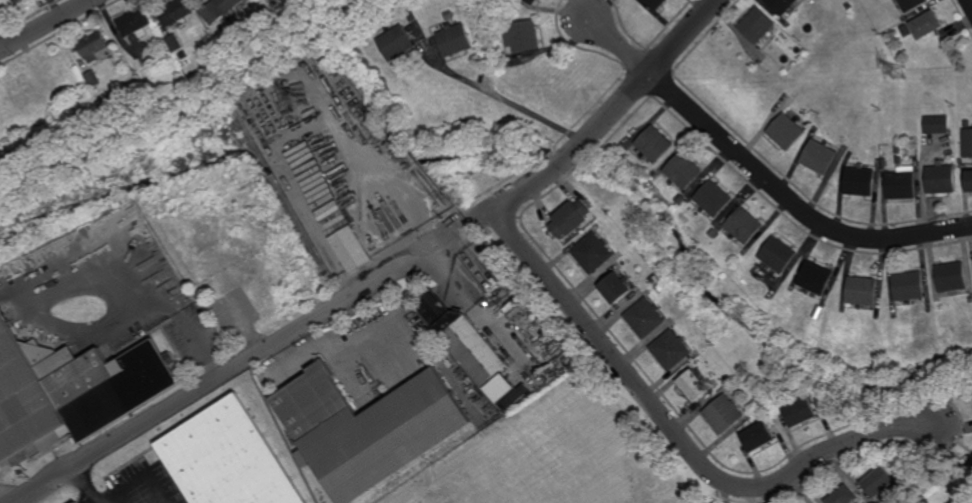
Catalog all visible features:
road: (971, 0)
building: (17, 1)
building: (275, 1)
building: (532, 1)
building: (656, 3)
building: (911, 4)
building: (782, 5)
building: (850, 5)
building: (218, 9)
building: (176, 12)
building: (448, 15)
building: (411, 16)
building: (136, 22)
road: (45, 24)
building: (758, 24)
building: (926, 24)
building: (906, 30)
building: (523, 36)
building: (454, 39)
road: (3, 40)
building: (395, 42)
building: (175, 43)
building: (94, 45)
road: (619, 45)
power tower: (899, 75)
building: (92, 78)
power tower: (294, 99)
road: (511, 103)
road: (603, 121)
building: (968, 123)
building: (936, 124)
building: (787, 131)
building: (967, 142)
building: (655, 143)
building: (898, 149)
building: (819, 156)
building: (899, 160)
building: (884, 162)
building: (963, 163)
building: (684, 170)
building: (941, 178)
building: (859, 181)
building: (969, 181)
building: (900, 185)
building: (714, 198)
road: (791, 202)
building: (571, 218)
building: (745, 225)
road: (441, 226)
building: (715, 233)
building: (351, 249)
building: (594, 252)
building: (778, 254)
building: (293, 258)
road: (444, 273)
building: (816, 277)
building: (951, 277)
building: (656, 278)
building: (908, 286)
building: (663, 287)
building: (617, 288)
building: (862, 291)
road: (129, 292)
building: (970, 300)
building: (430, 306)
building: (646, 317)
building: (471, 347)
building: (672, 350)
road: (214, 378)
building: (695, 385)
building: (73, 391)
building: (513, 396)
building: (804, 414)
building: (726, 415)
building: (366, 430)
road: (681, 438)
building: (762, 438)
building: (742, 443)
building: (231, 460)
building: (881, 480)
road: (87, 485)
building: (846, 494)
building: (80, 502)
building: (809, 502)

